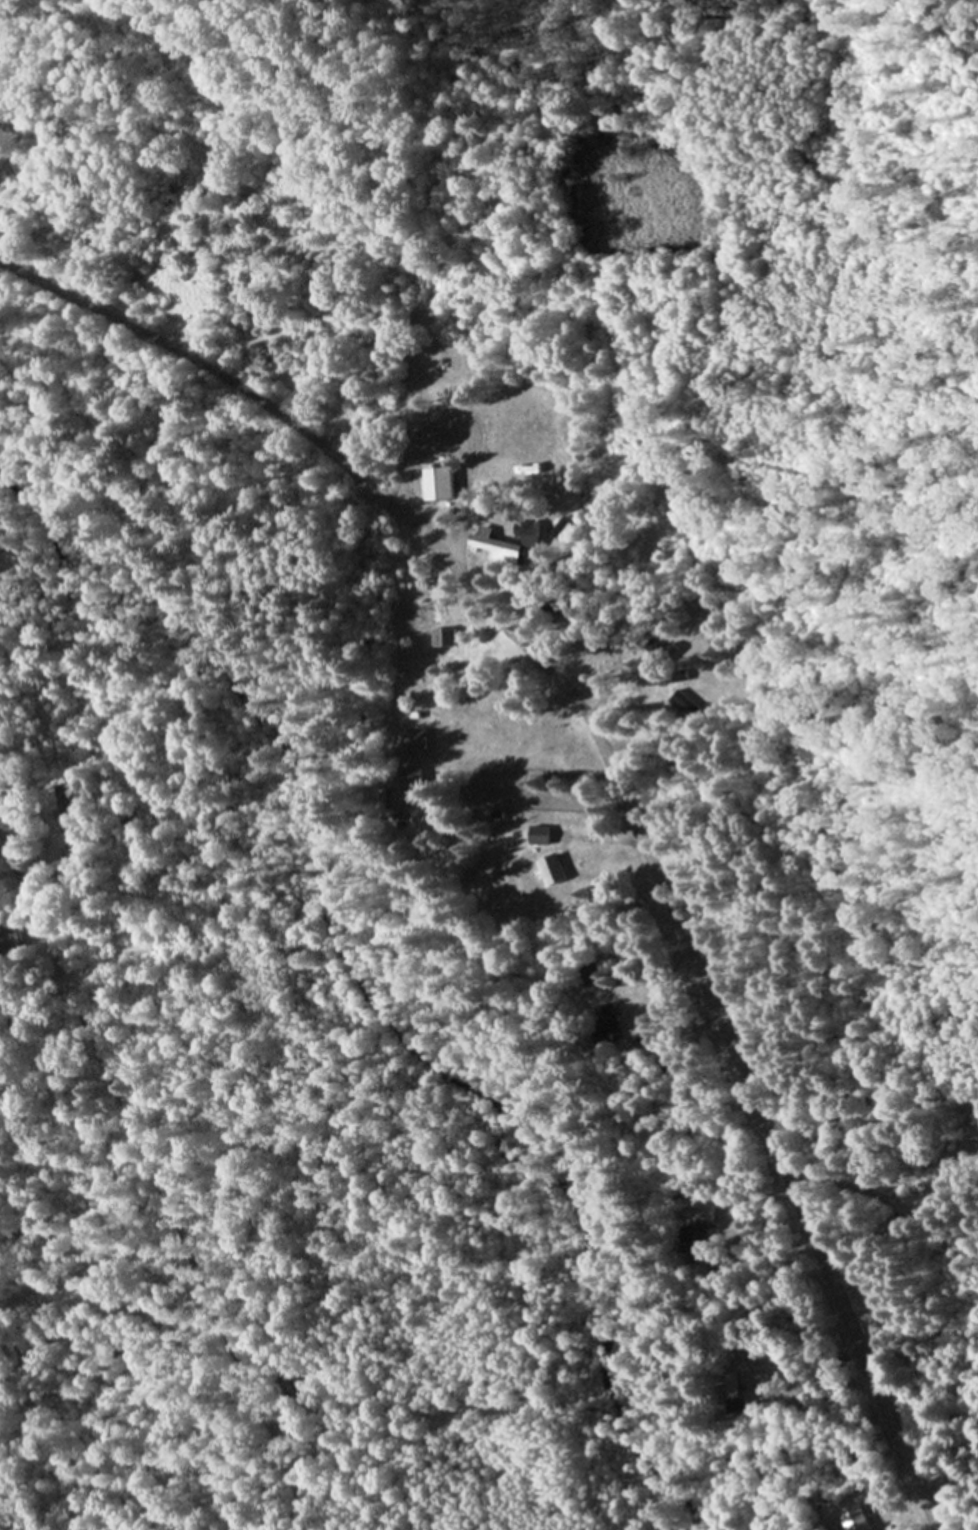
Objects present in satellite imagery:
road: (325, 449)
building: (521, 454)
building: (439, 484)
building: (508, 542)
building: (446, 637)
building: (679, 703)
building: (413, 743)
building: (414, 776)
road: (529, 776)
building: (404, 799)
building: (69, 817)
building: (541, 836)
building: (553, 870)
building: (11, 939)
building: (606, 1027)
building: (668, 1066)
road: (759, 1125)
road: (150, 1183)
building: (697, 1209)
building: (690, 1241)
building: (732, 1393)
building: (856, 1518)

